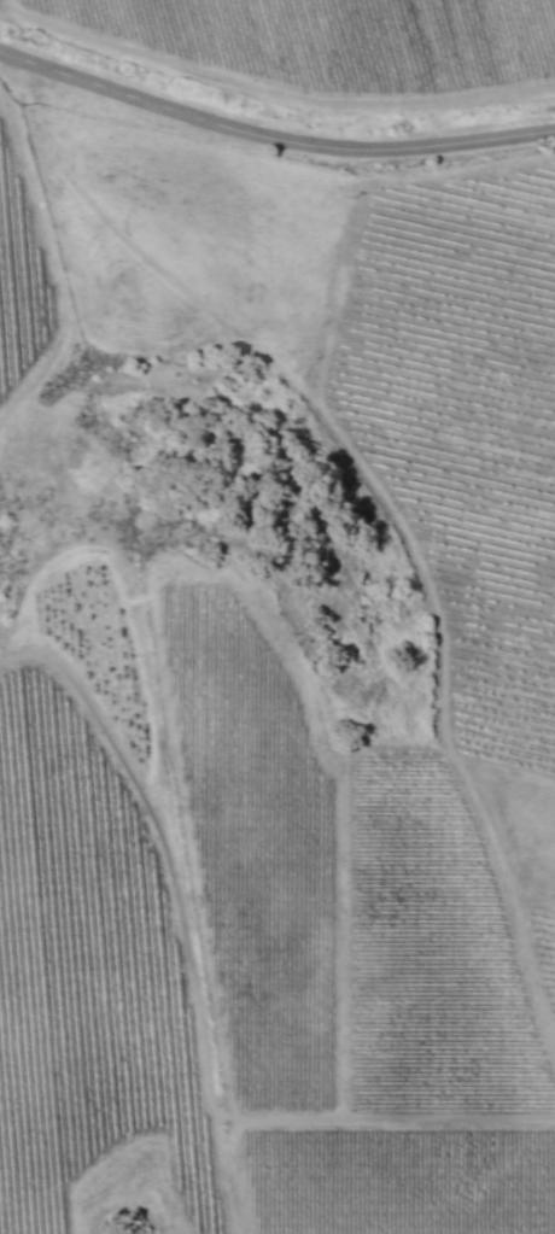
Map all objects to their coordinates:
road: (271, 147)
crop: (378, 287)
crop: (544, 941)
crop: (97, 964)

